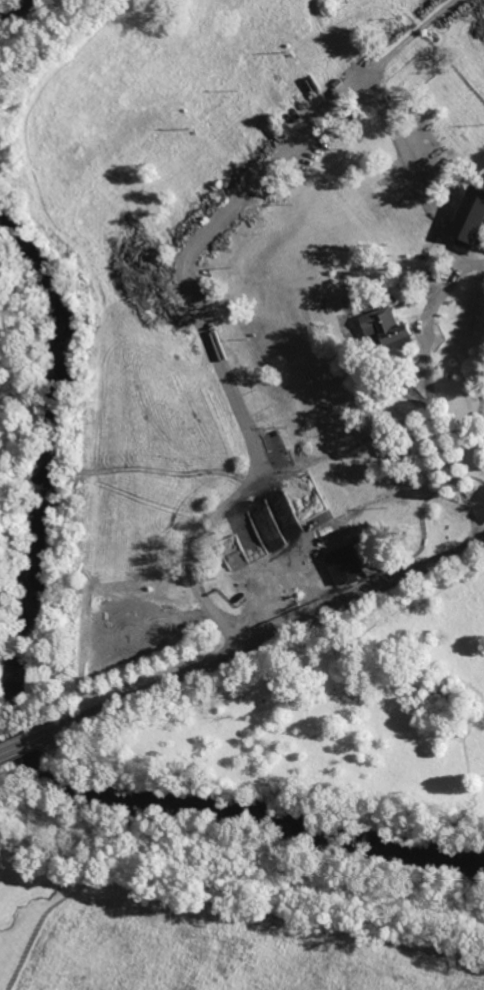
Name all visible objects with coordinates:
road: (401, 42)
building: (467, 217)
road: (470, 262)
road: (196, 314)
building: (384, 327)
road: (426, 349)
building: (342, 564)
road: (274, 633)
road: (32, 740)

